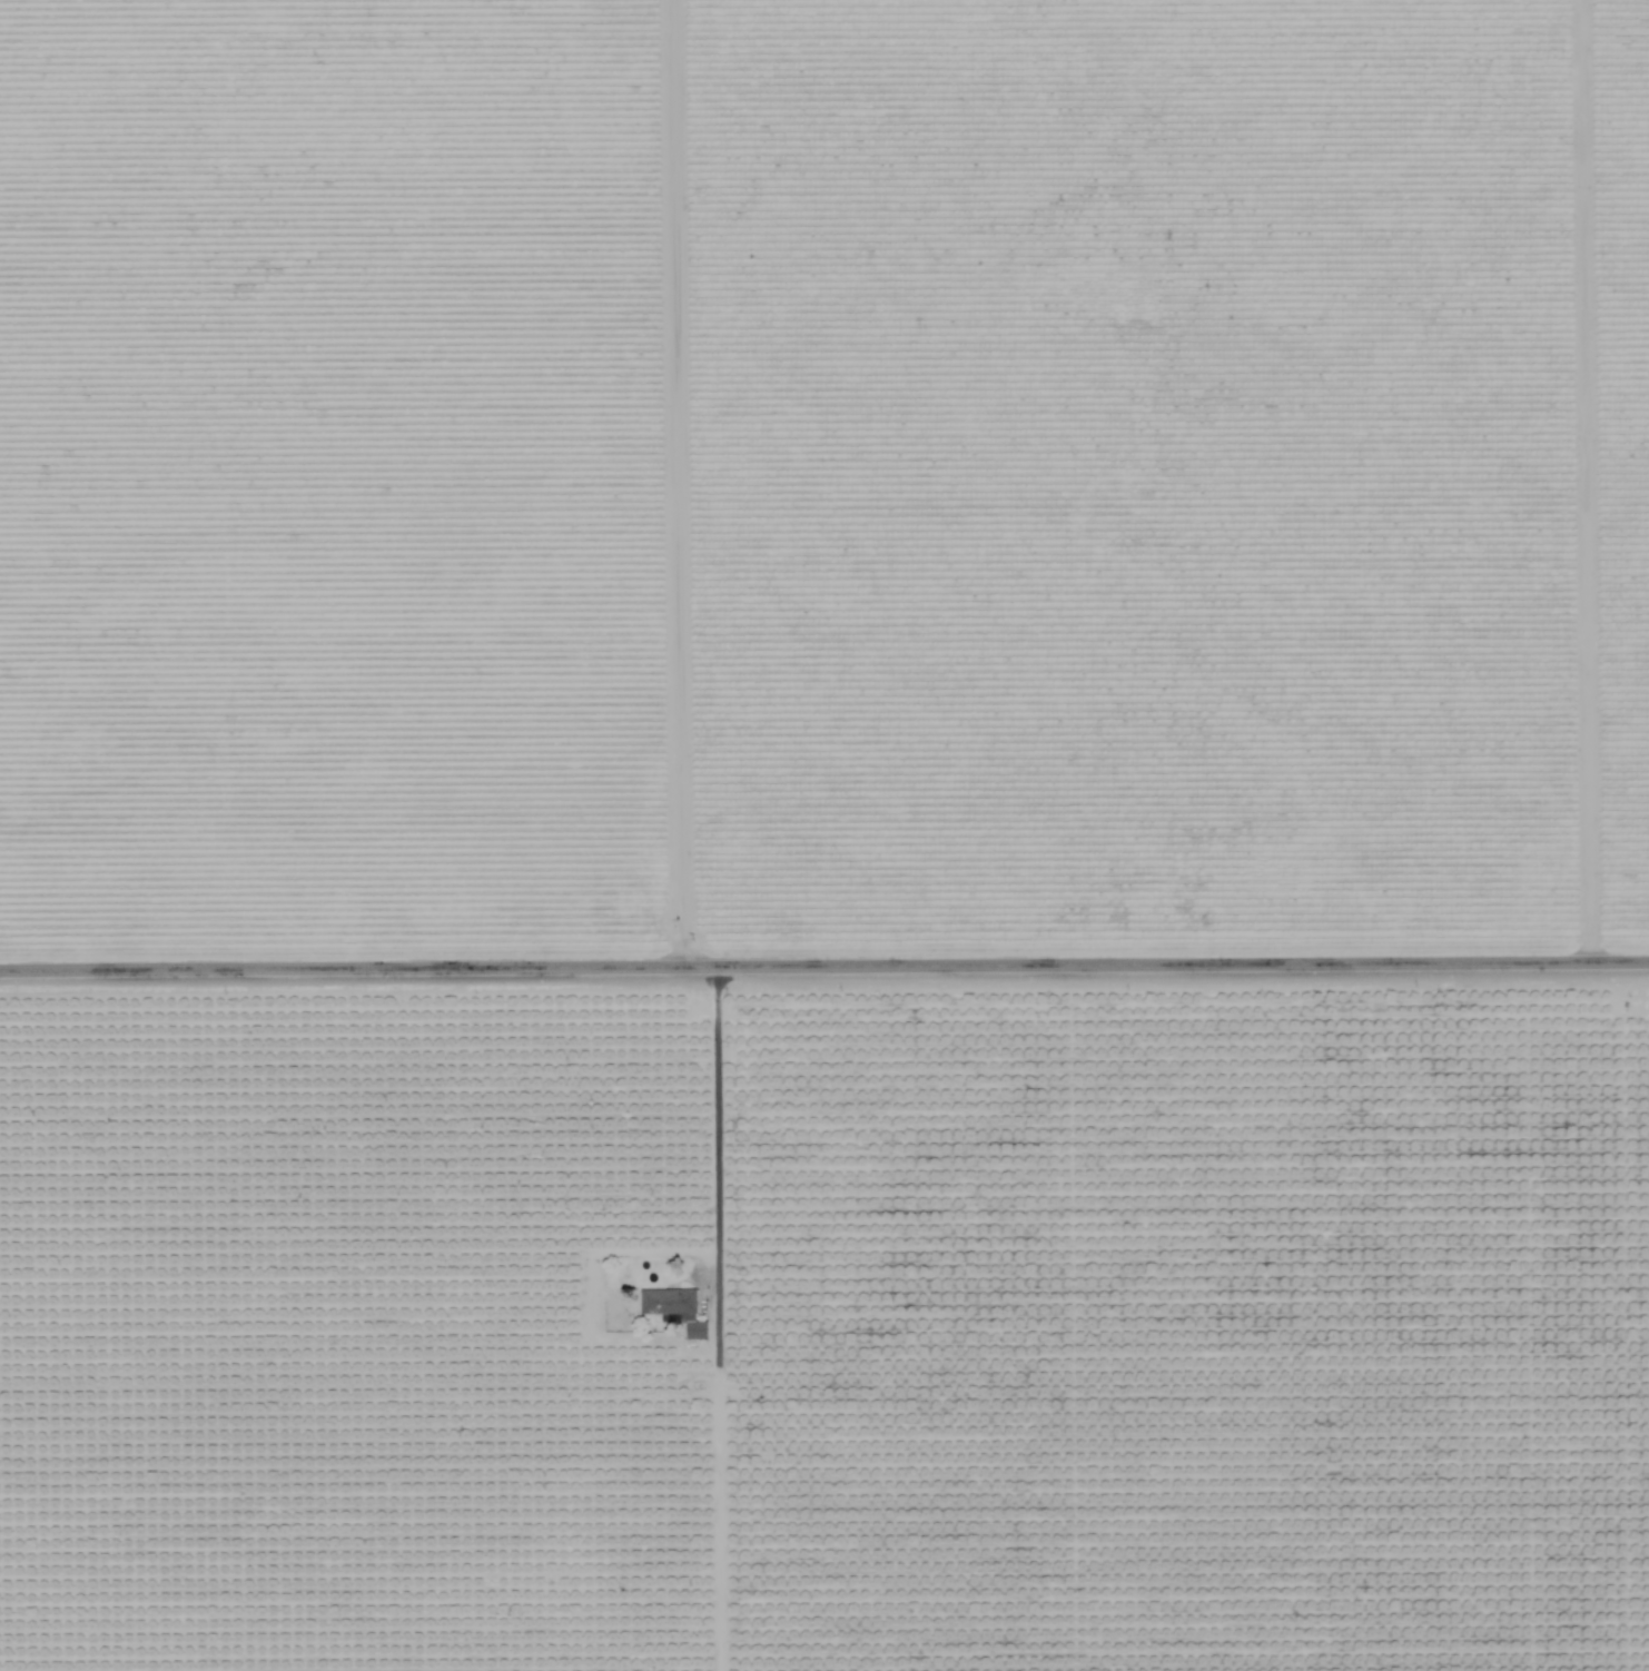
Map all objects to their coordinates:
road: (823, 966)
road: (712, 1170)
road: (714, 1523)

